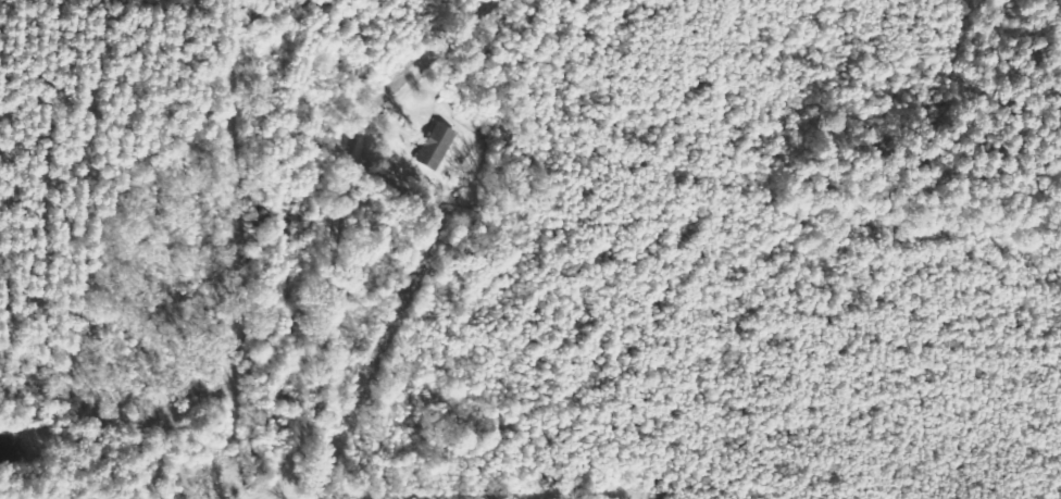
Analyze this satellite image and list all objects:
building: (436, 146)
road: (389, 208)
road: (178, 488)
road: (422, 491)

